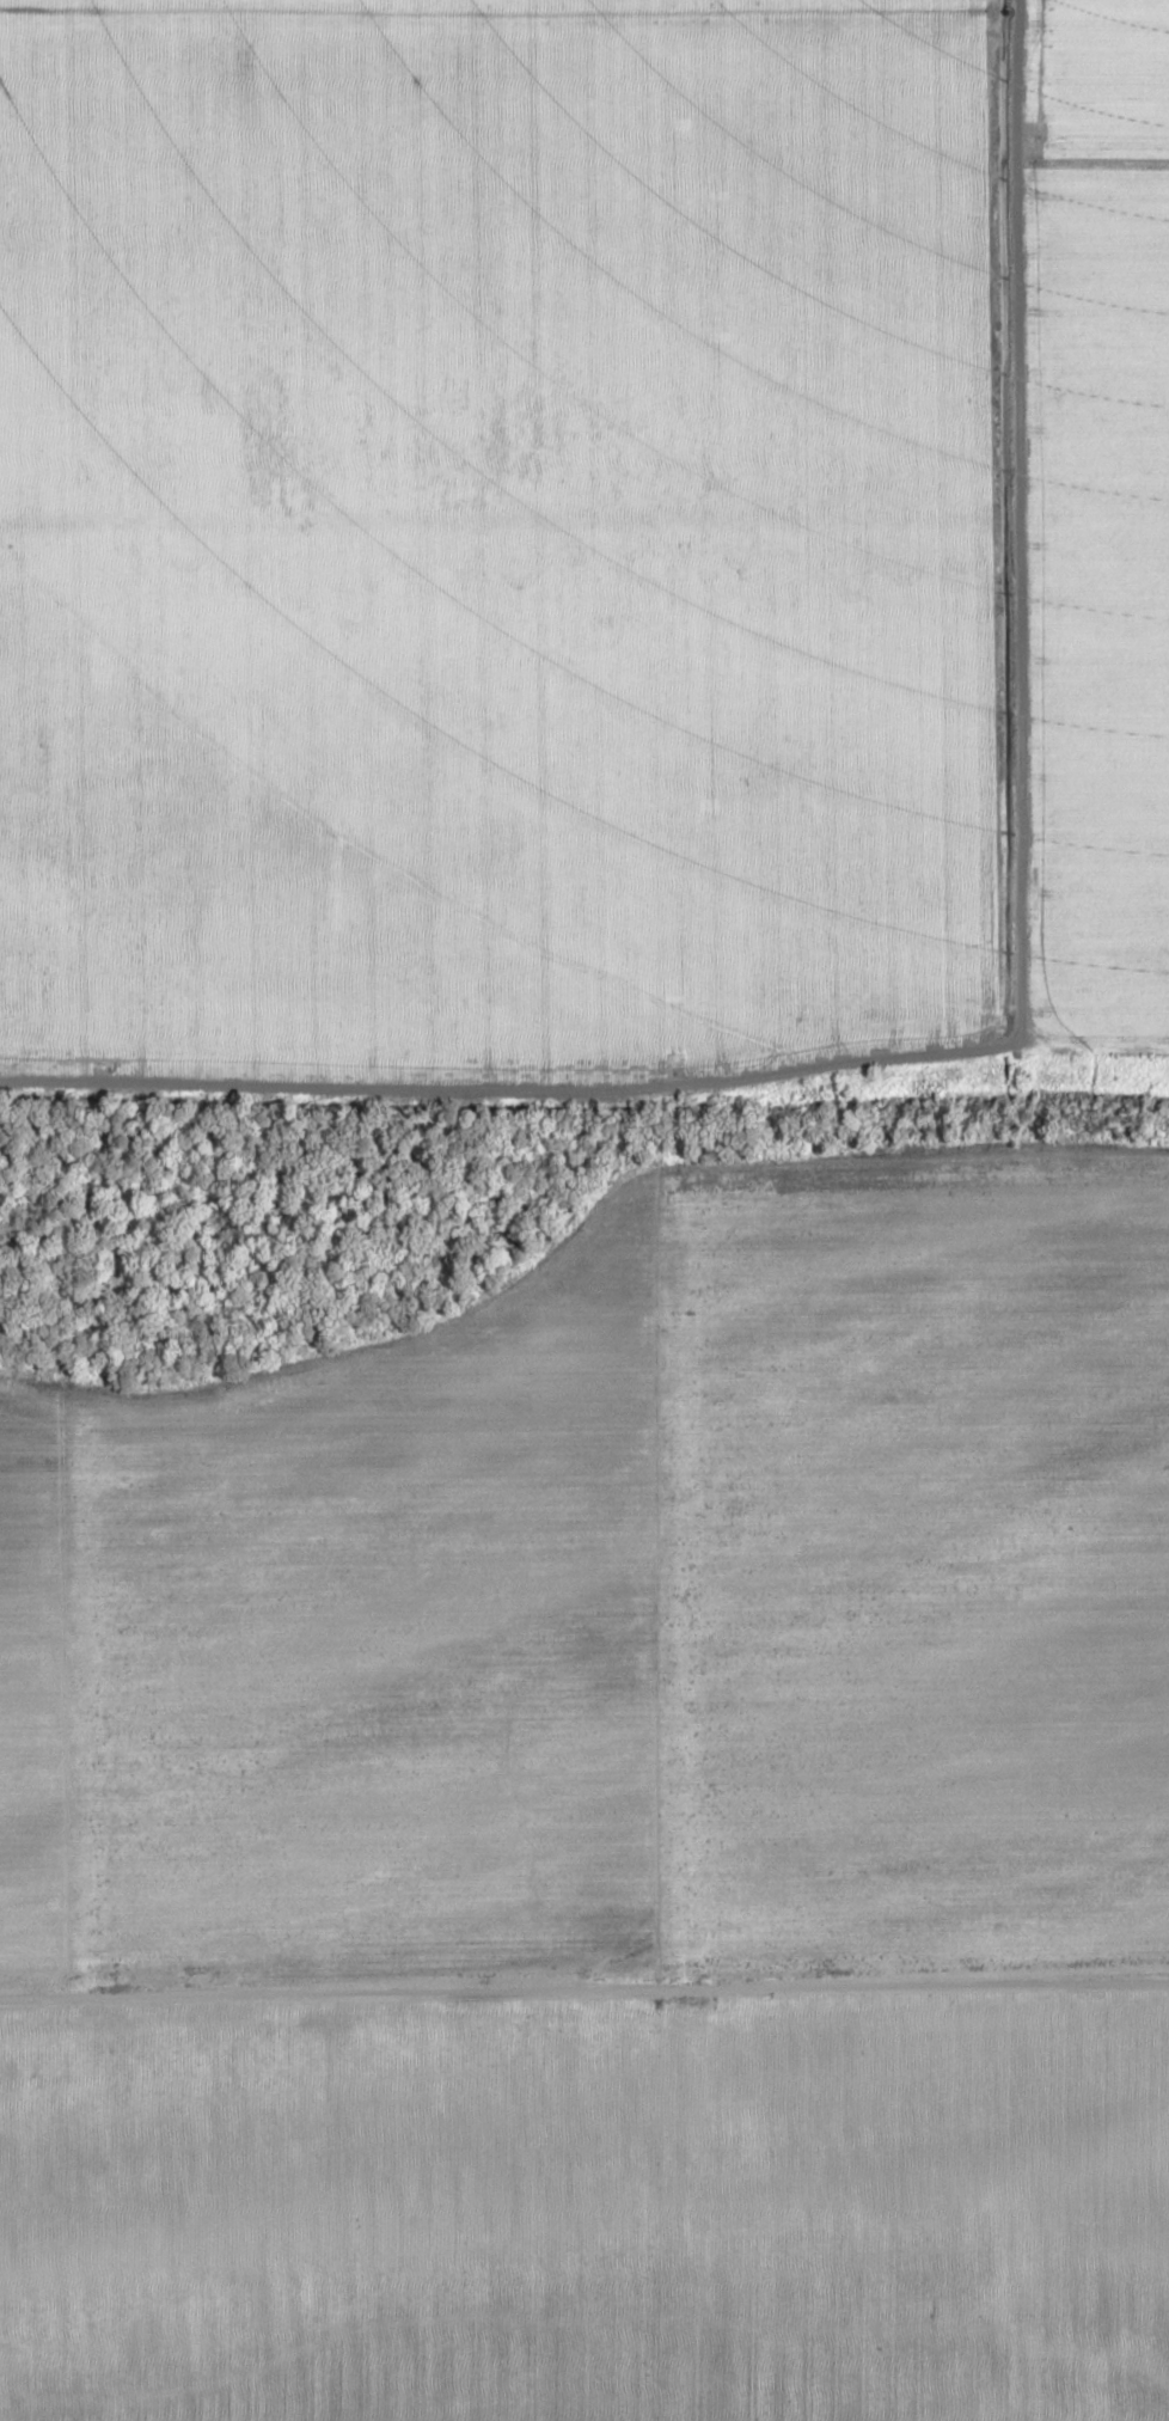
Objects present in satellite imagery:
road: (583, 1989)

